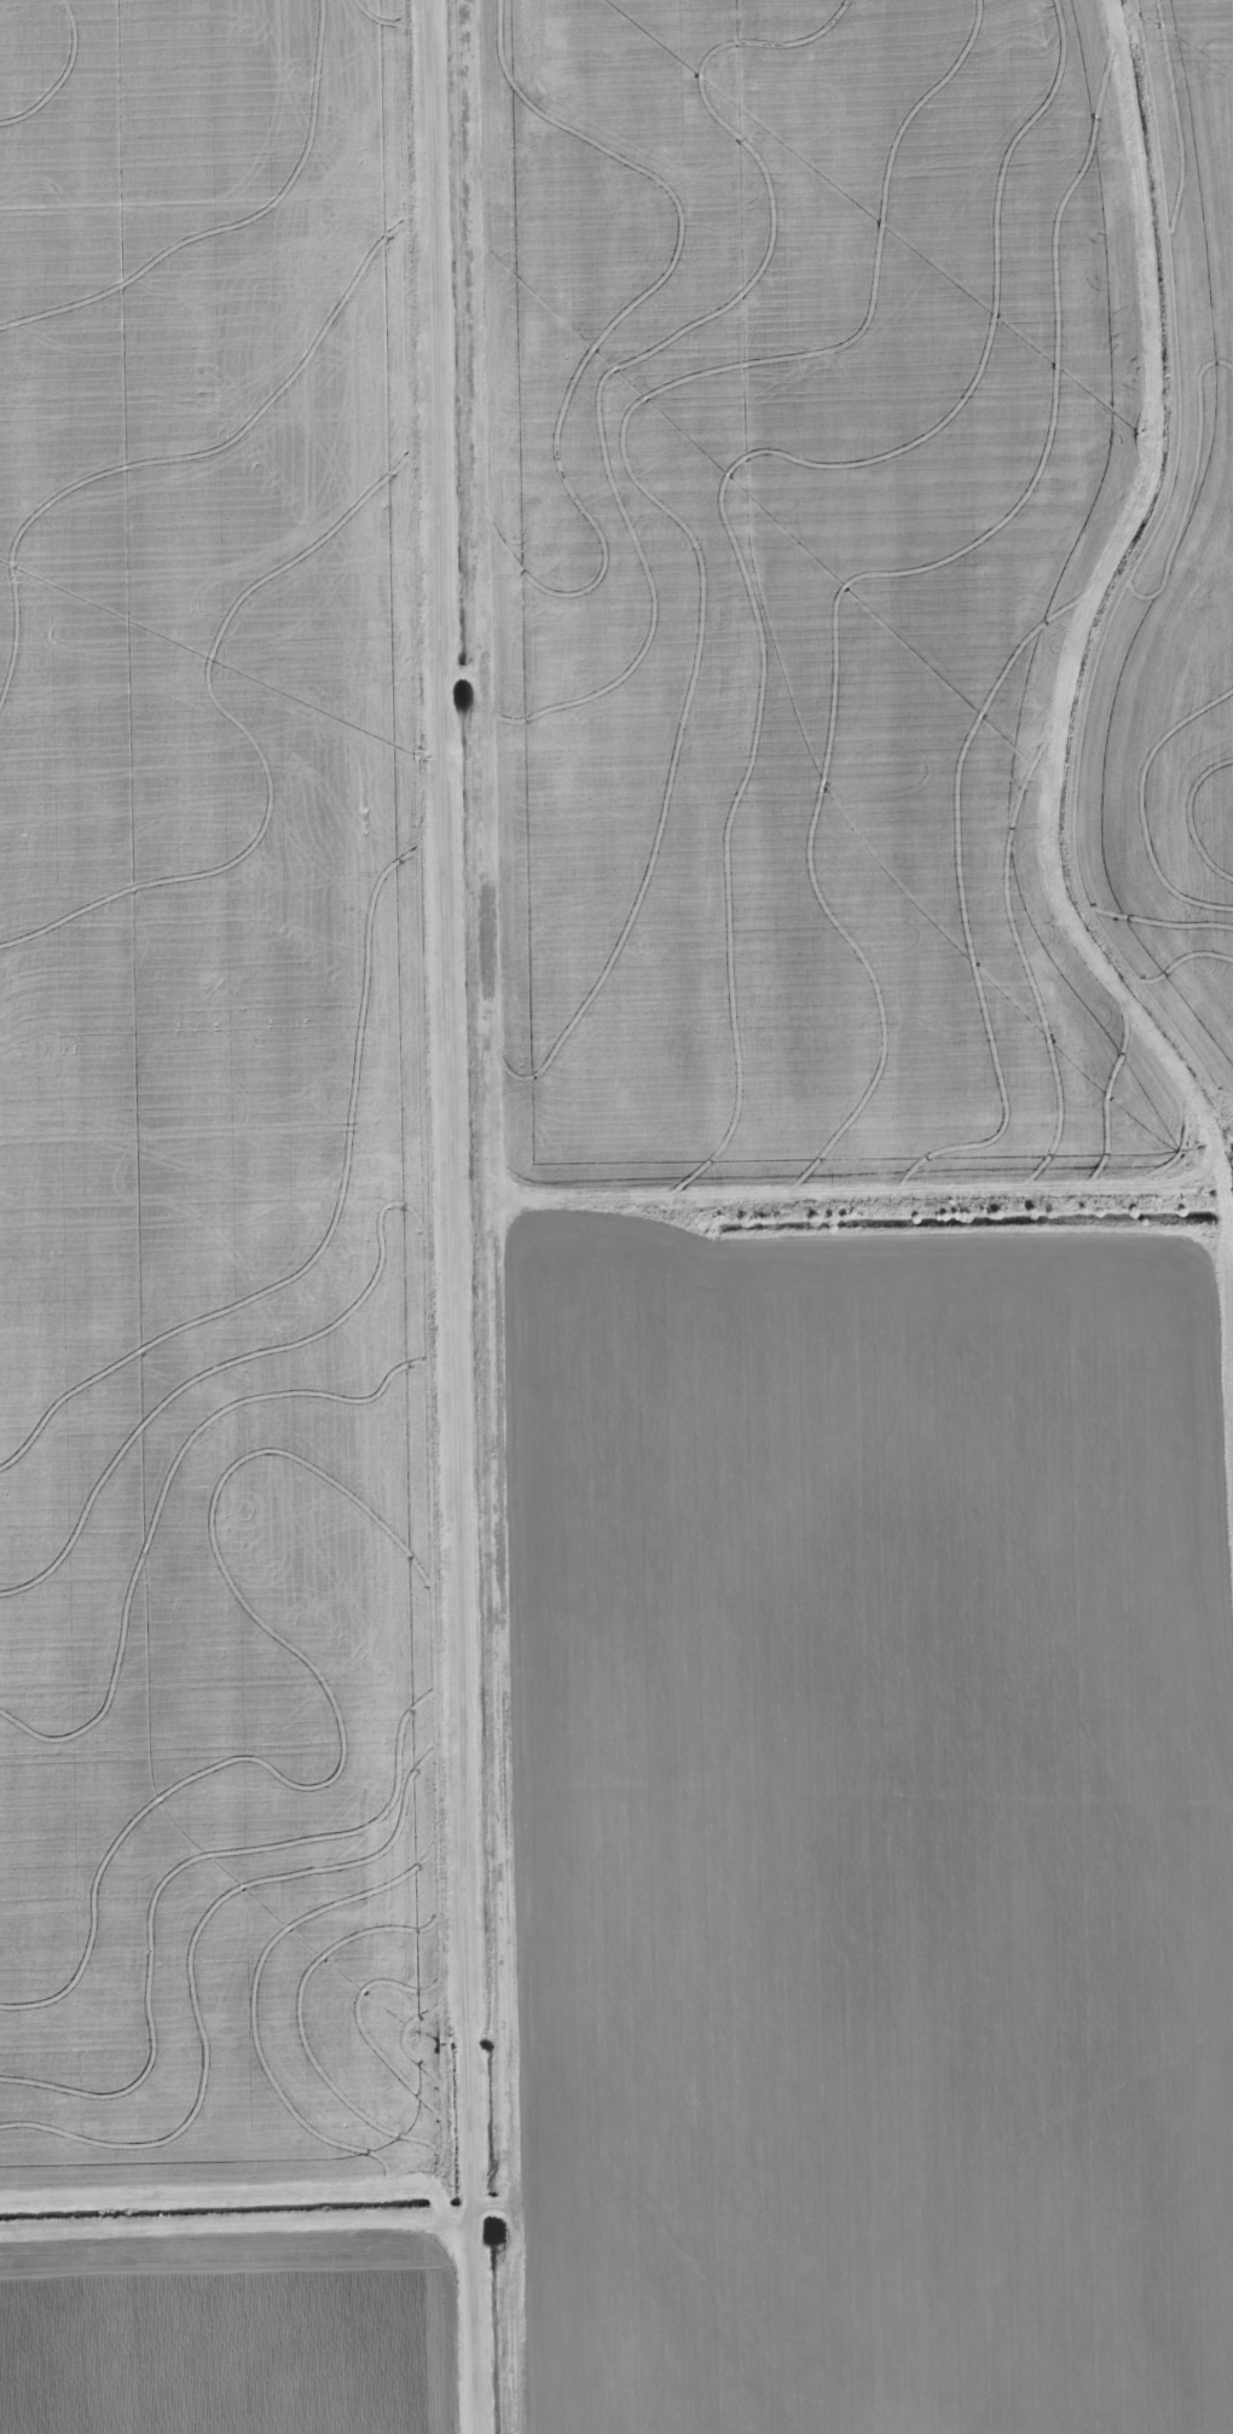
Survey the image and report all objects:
road: (455, 1217)

